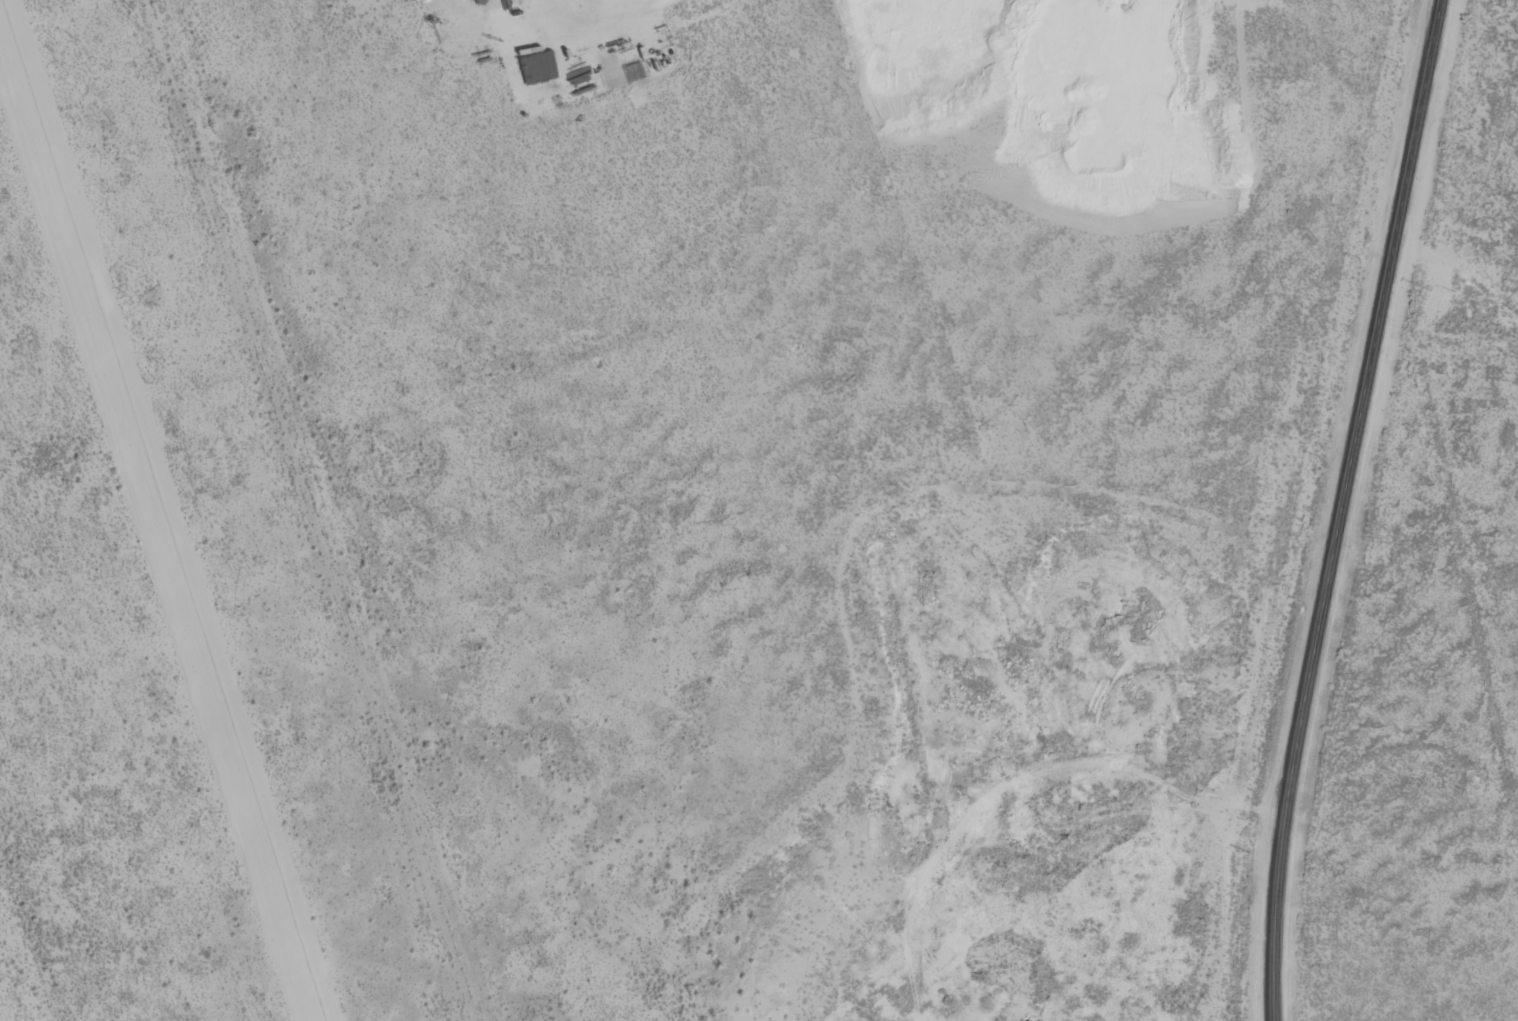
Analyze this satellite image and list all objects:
road: (1344, 509)

